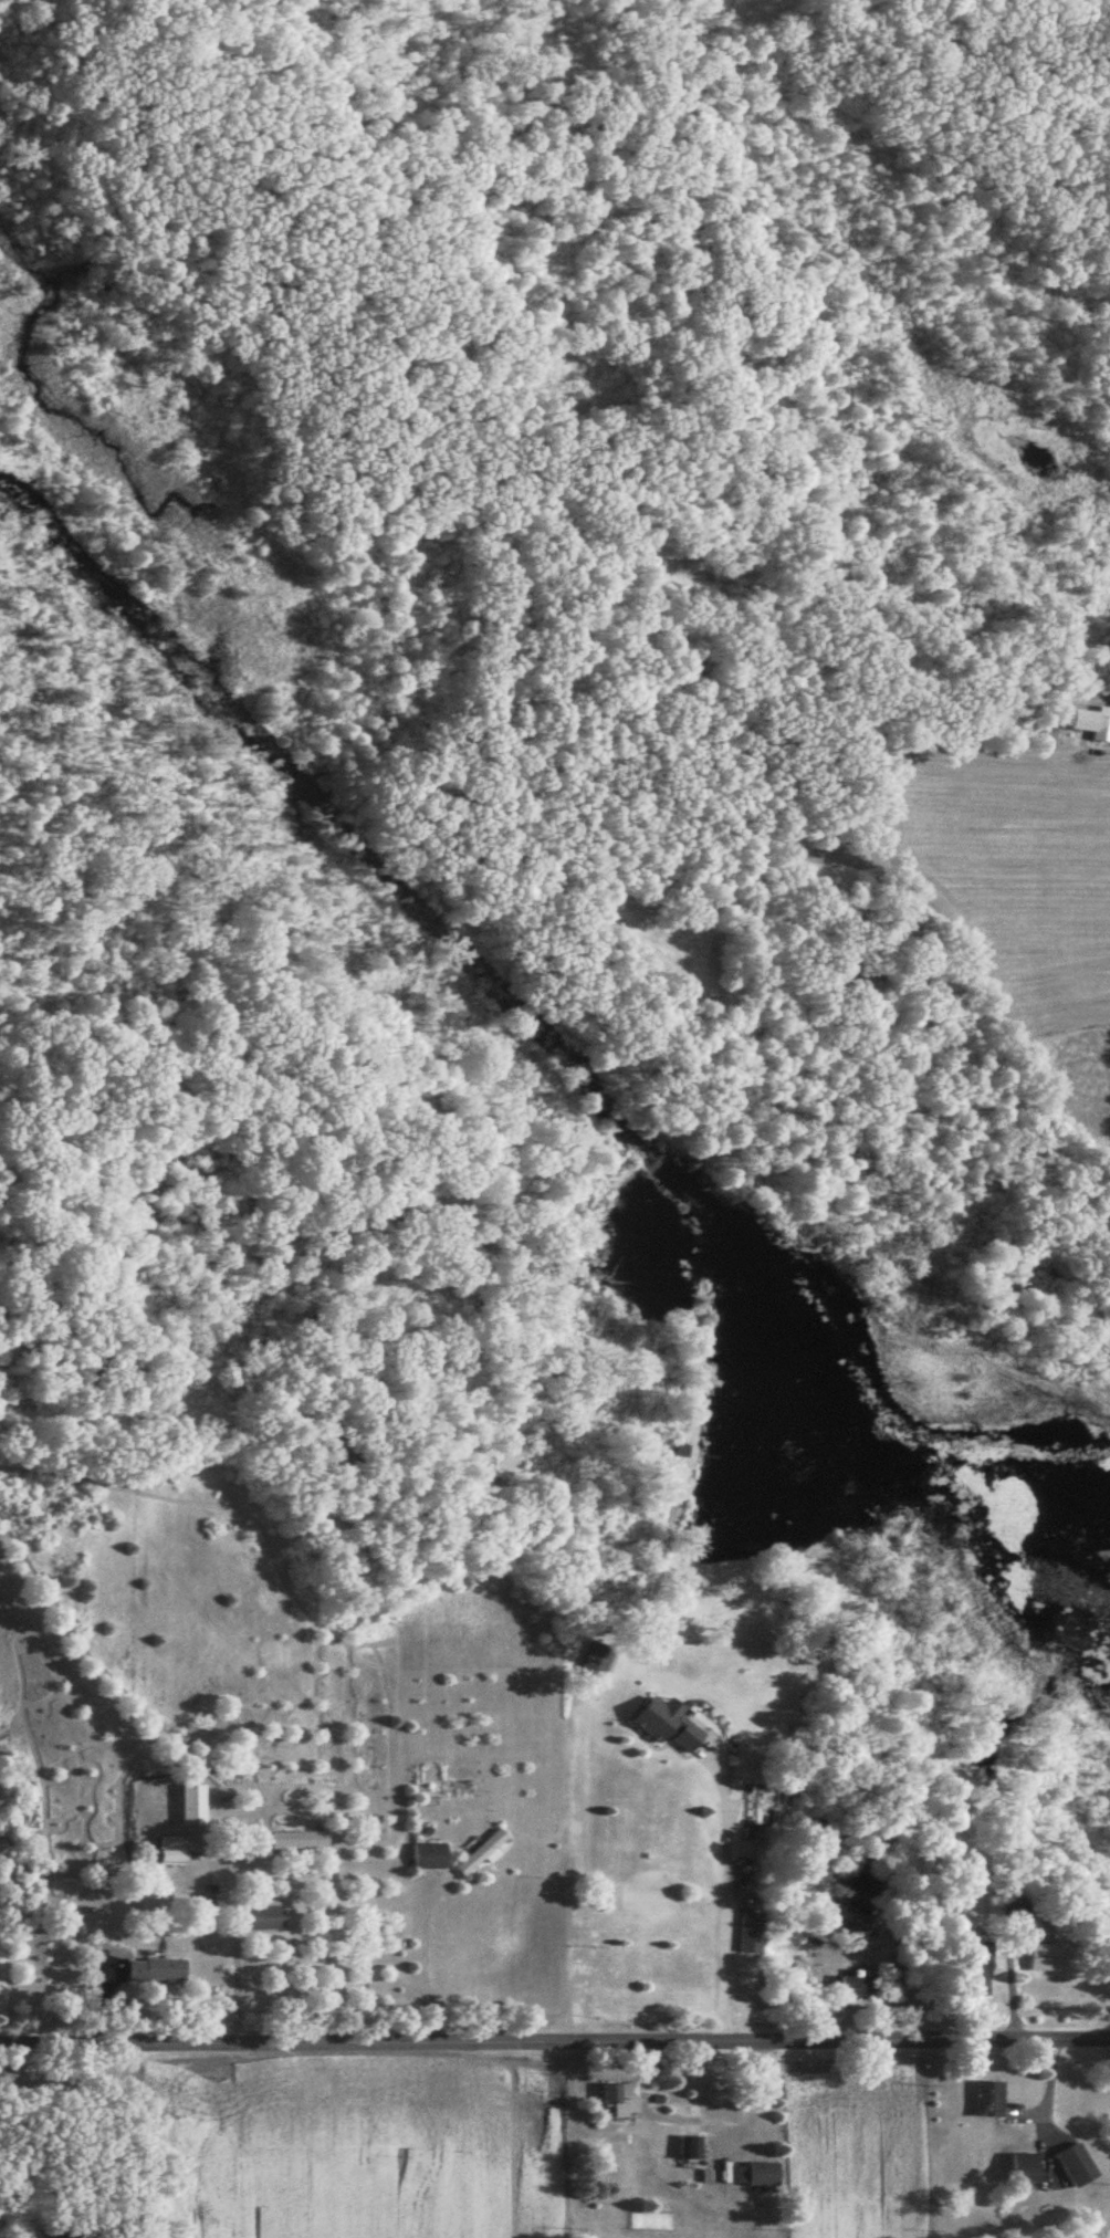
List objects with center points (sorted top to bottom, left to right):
building: (1104, 723)
river: (545, 1054)
building: (600, 1659)
building: (195, 1803)
building: (301, 1839)
building: (172, 1849)
building: (484, 1851)
building: (431, 1854)
building: (655, 1894)
building: (268, 1911)
building: (754, 1932)
building: (158, 1969)
building: (858, 1988)
road: (554, 2020)
building: (620, 2094)
building: (992, 2098)
building: (1081, 2164)
building: (1030, 2167)
building: (758, 2172)

